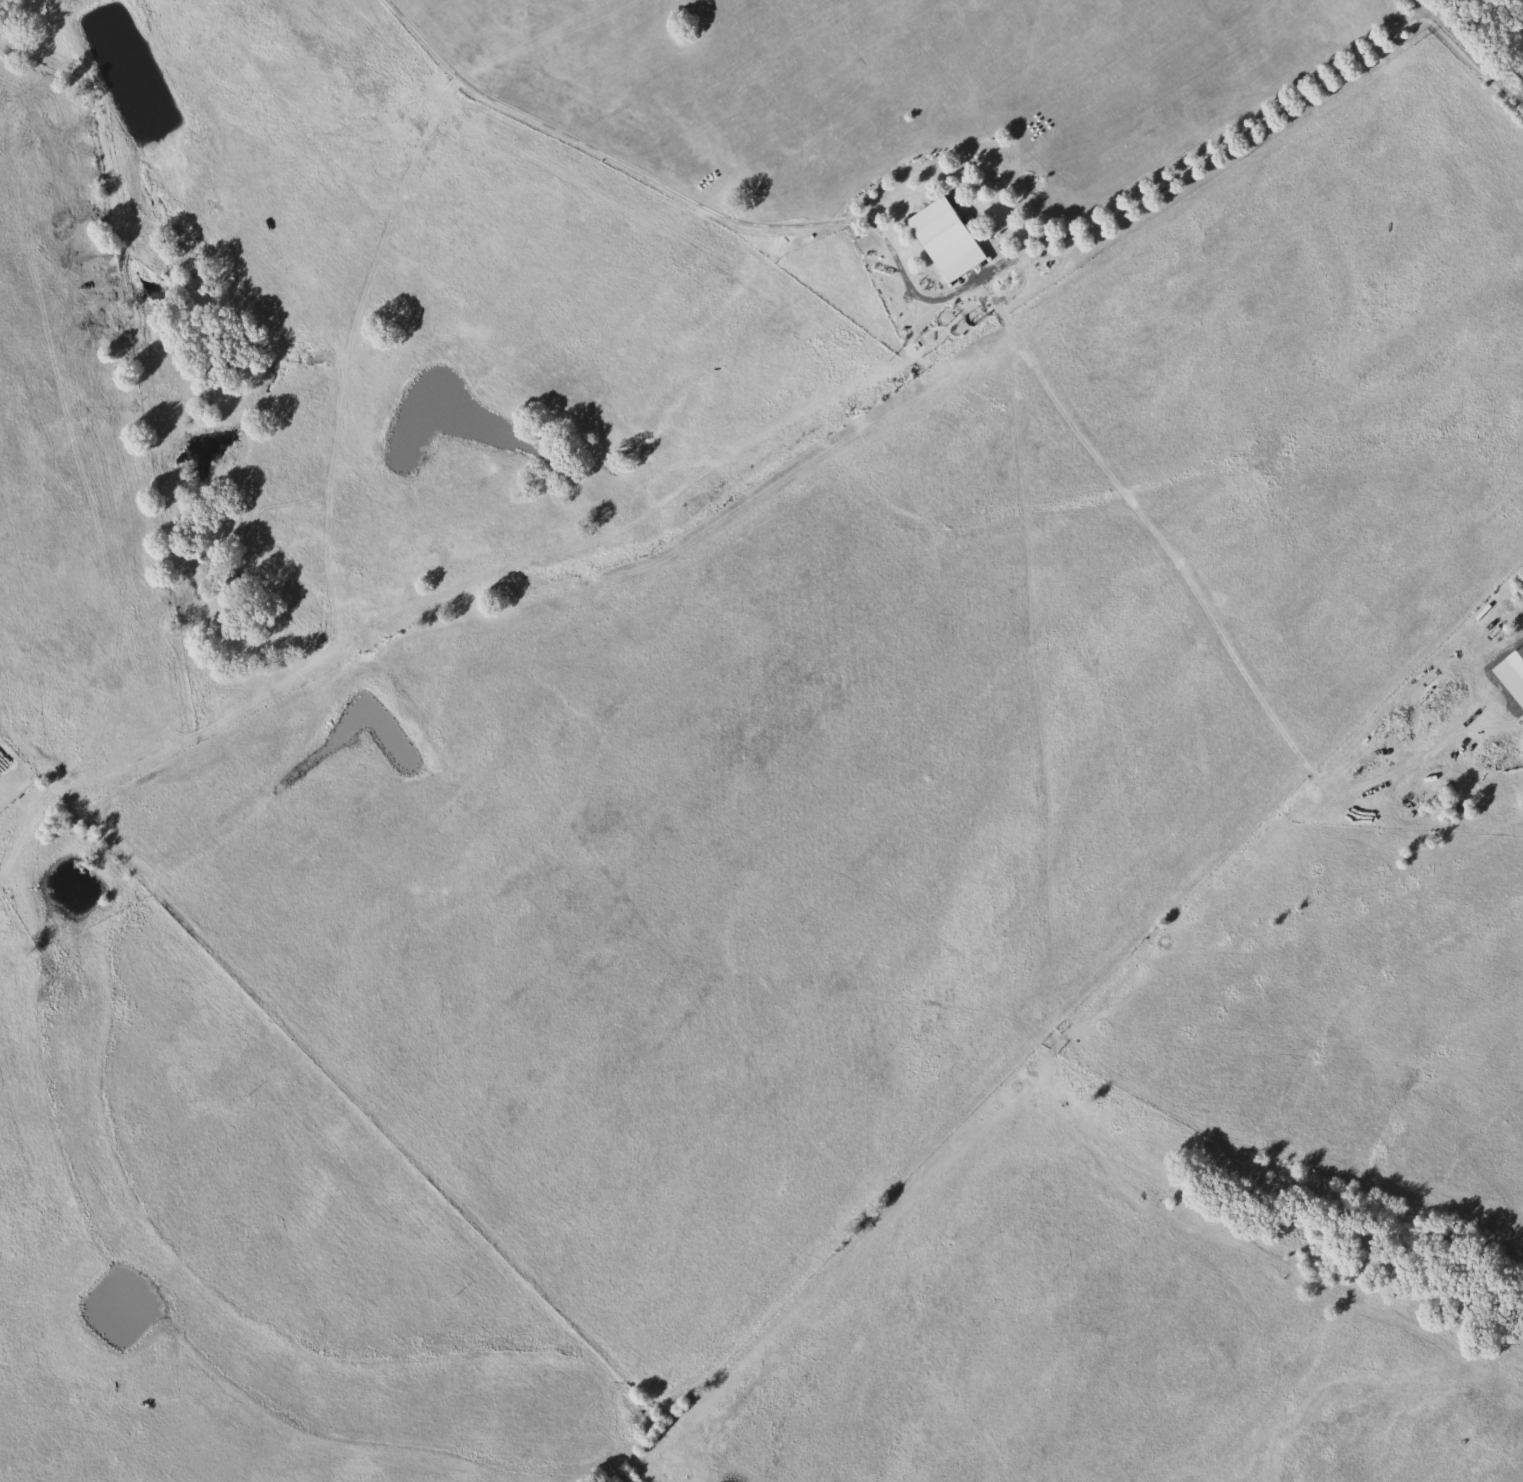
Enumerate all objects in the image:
road: (1470, 52)
road: (915, 185)
building: (939, 239)
building: (1510, 674)

